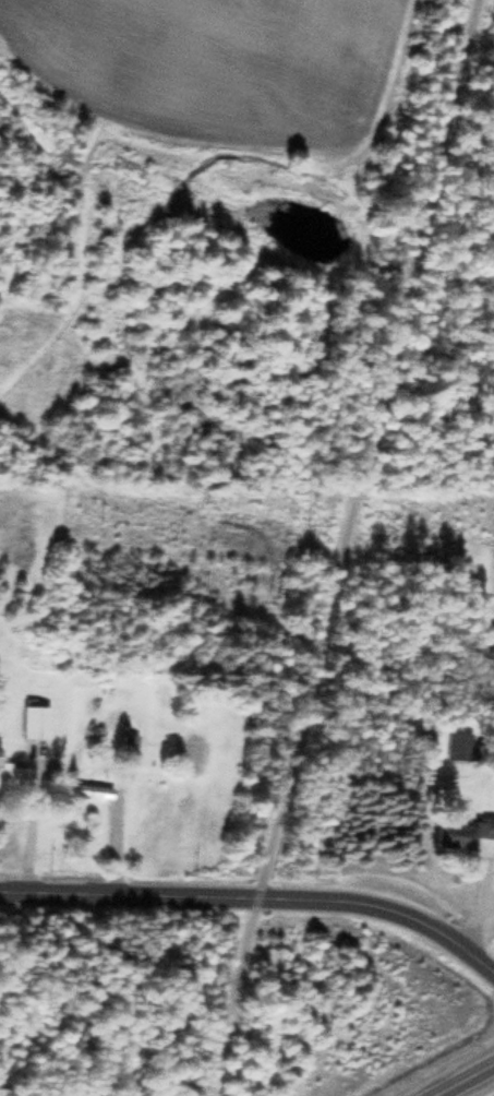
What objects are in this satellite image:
road: (342, 547)
building: (32, 717)
building: (456, 744)
building: (126, 746)
building: (11, 775)
building: (460, 830)
road: (256, 895)
road: (463, 1080)

